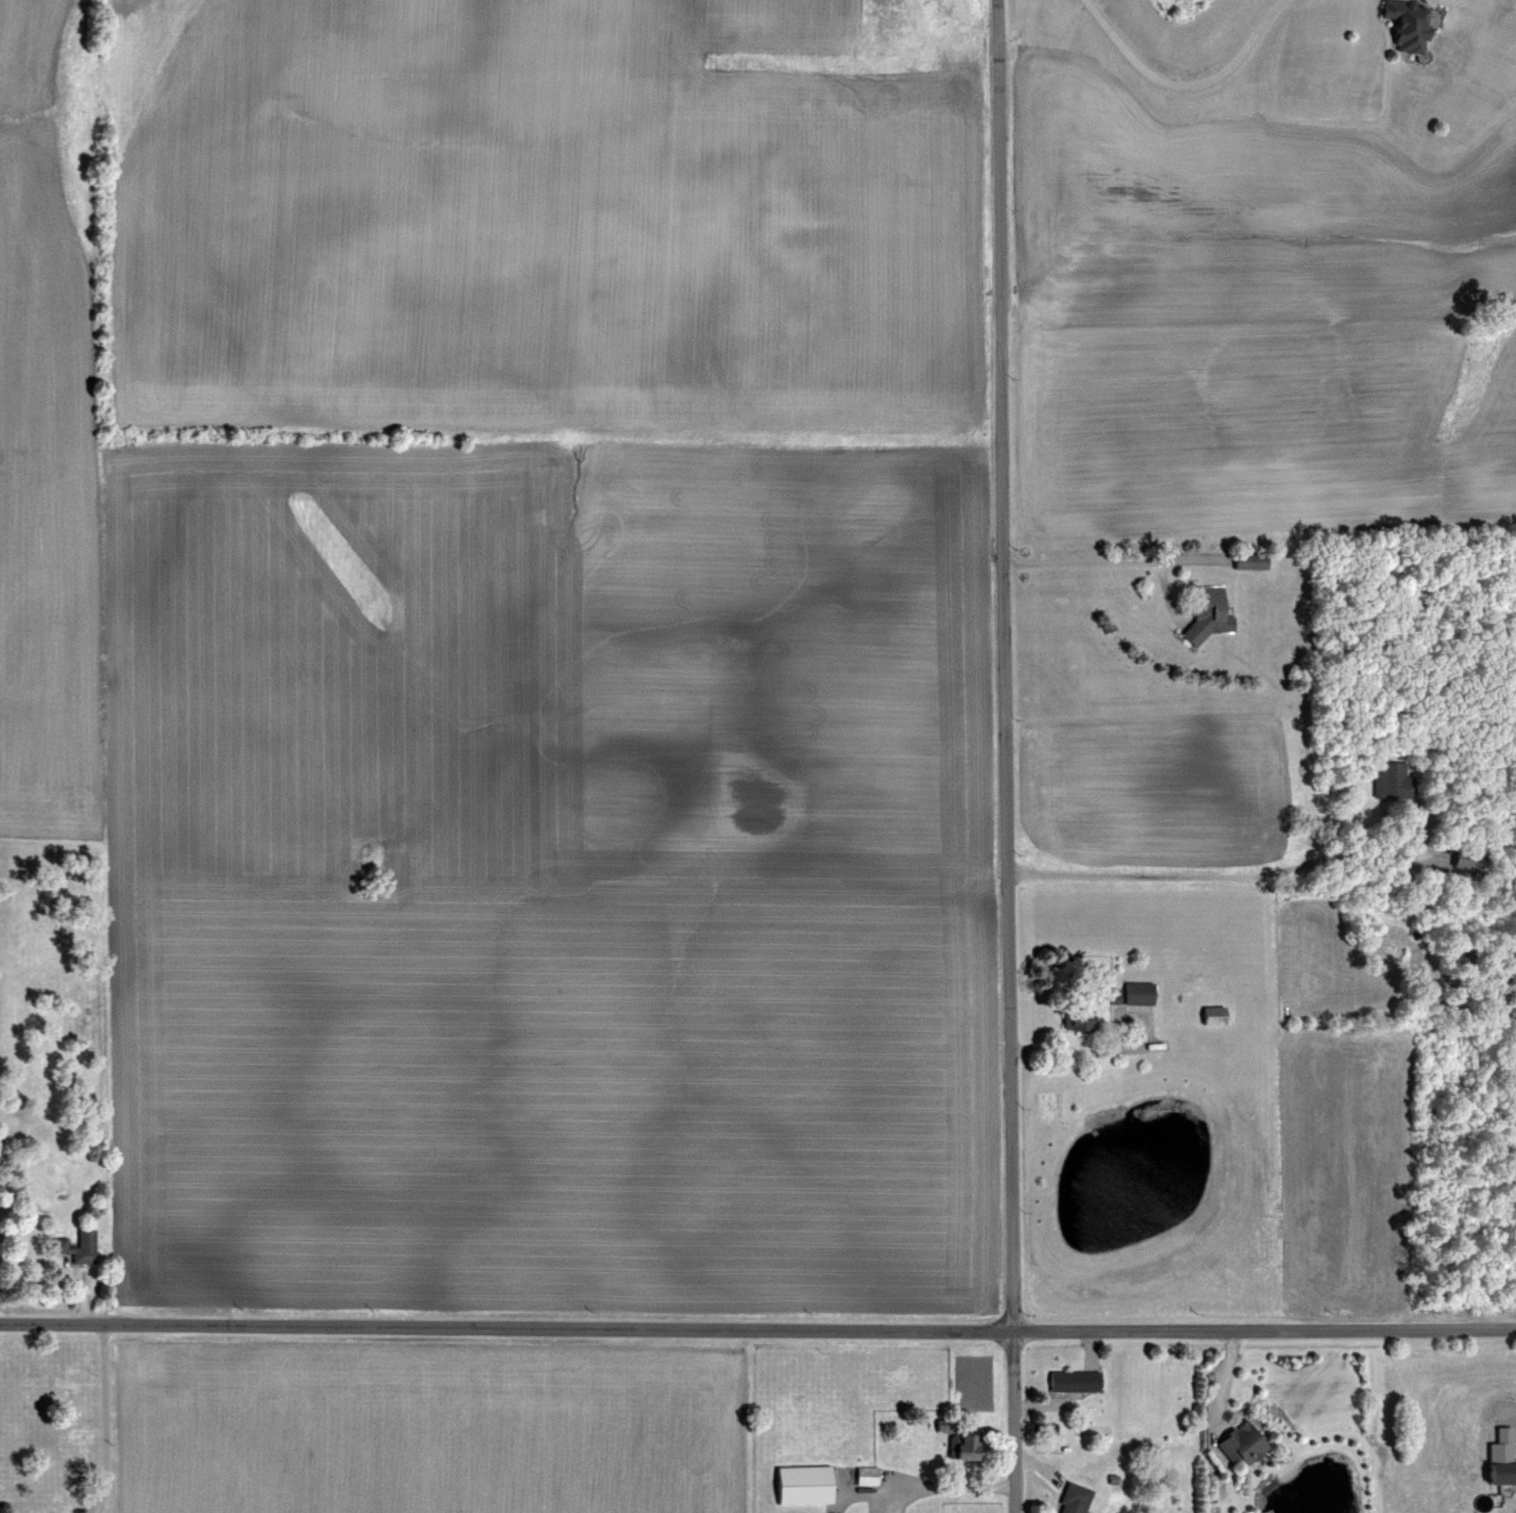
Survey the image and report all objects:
building: (1414, 24)
road: (1182, 84)
road: (1102, 555)
building: (1255, 561)
road: (1005, 756)
building: (1399, 780)
building: (1476, 860)
road: (1204, 875)
building: (1142, 992)
building: (1218, 1015)
building: (1084, 1017)
road: (1071, 1049)
building: (82, 1247)
road: (757, 1327)
building: (1079, 1381)
road: (105, 1417)
building: (1248, 1443)
building: (969, 1446)
building: (1507, 1472)
building: (810, 1484)
road: (937, 1485)
building: (1079, 1498)
building: (45, 1511)

